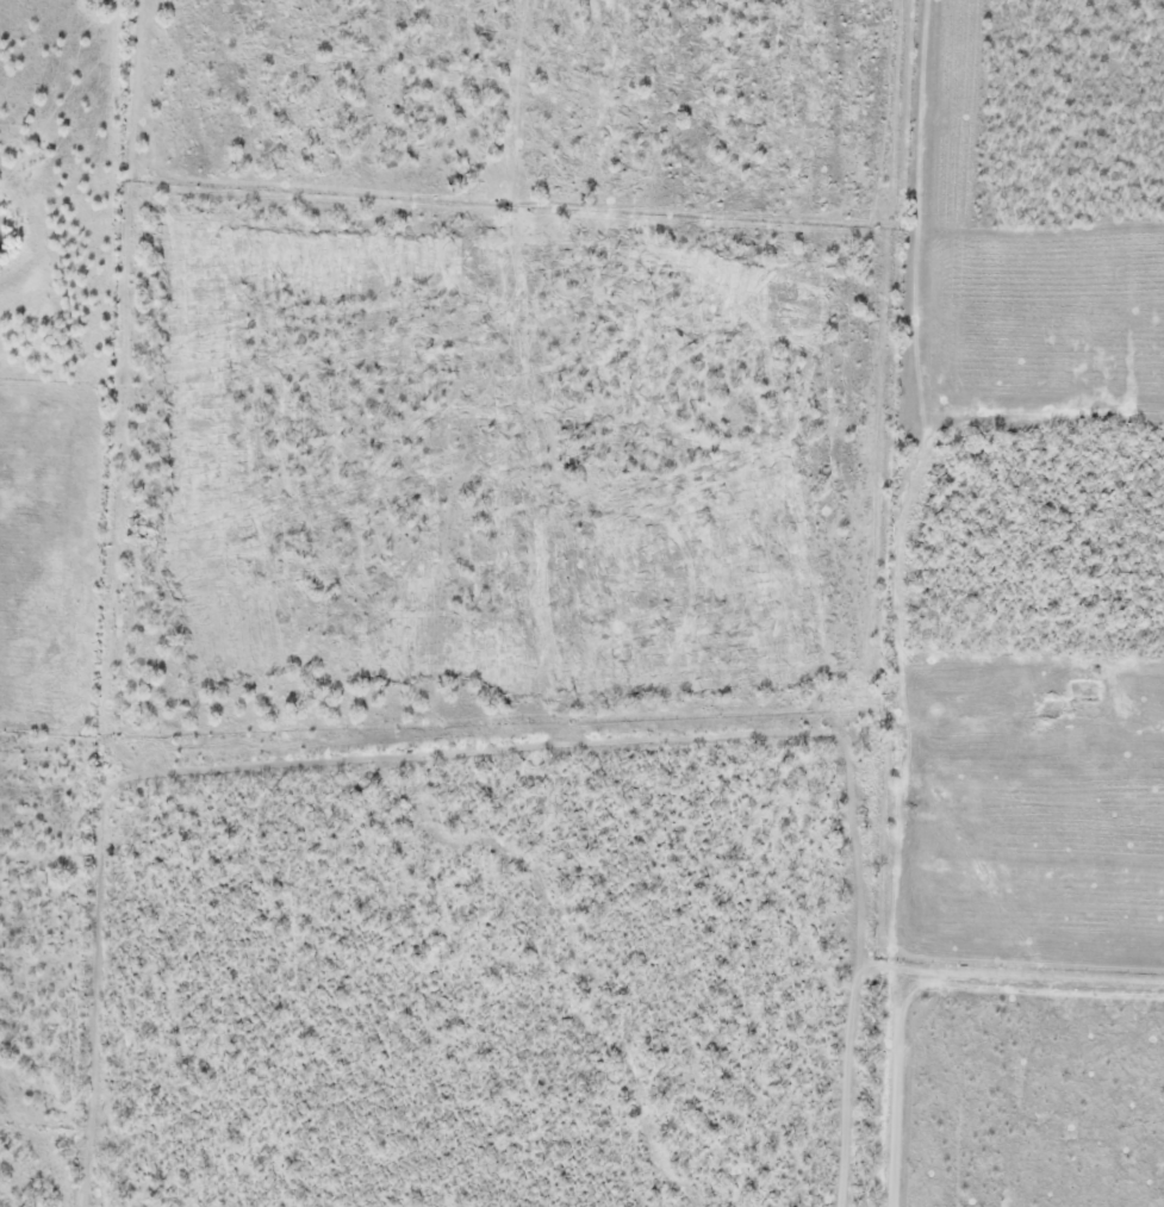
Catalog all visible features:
road: (1039, 984)

